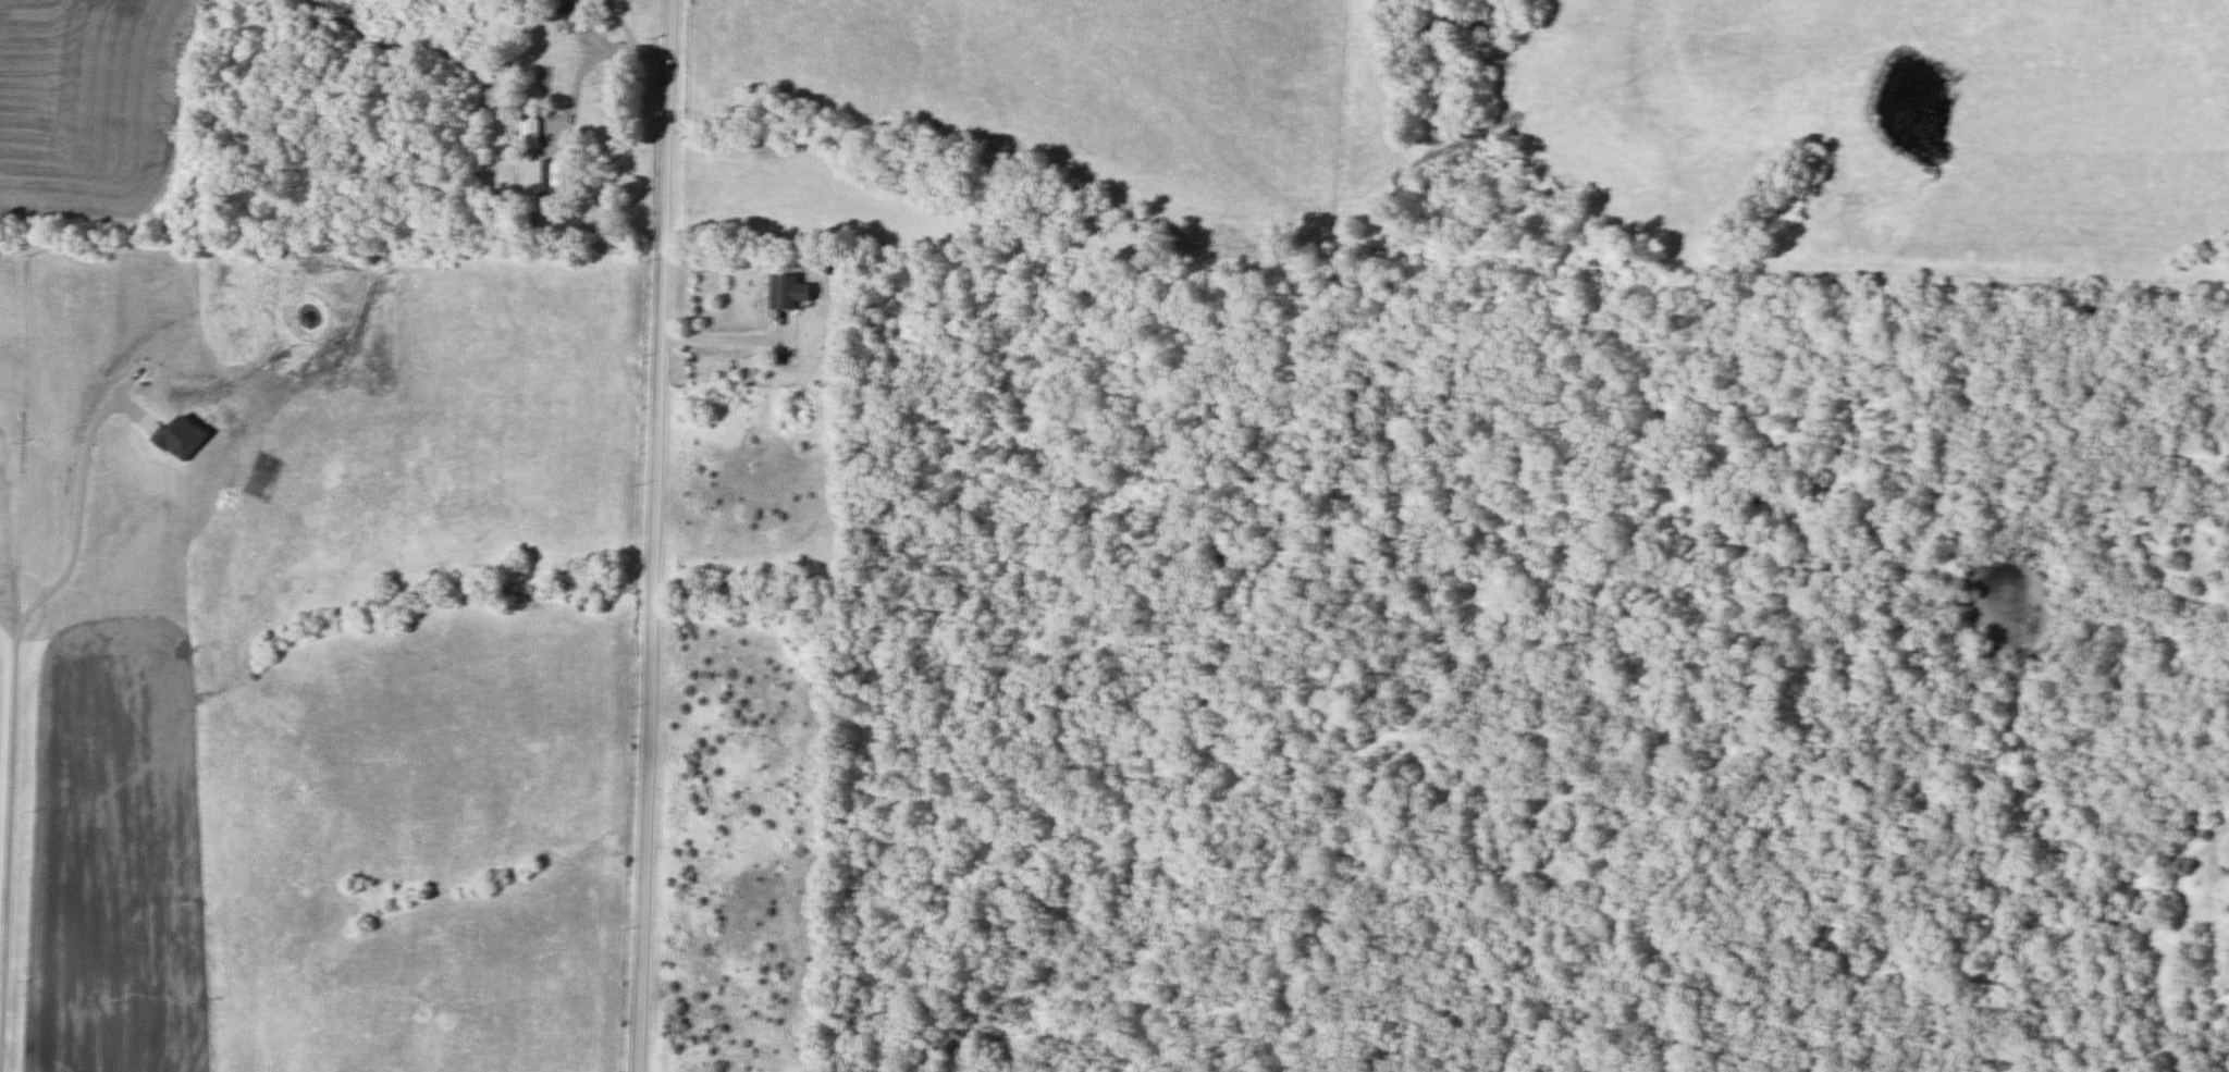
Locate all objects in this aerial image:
road: (532, 42)
road: (638, 53)
building: (530, 134)
building: (547, 188)
building: (791, 294)
road: (731, 341)
road: (78, 512)
road: (652, 535)
crop: (0, 665)
road: (21, 776)

